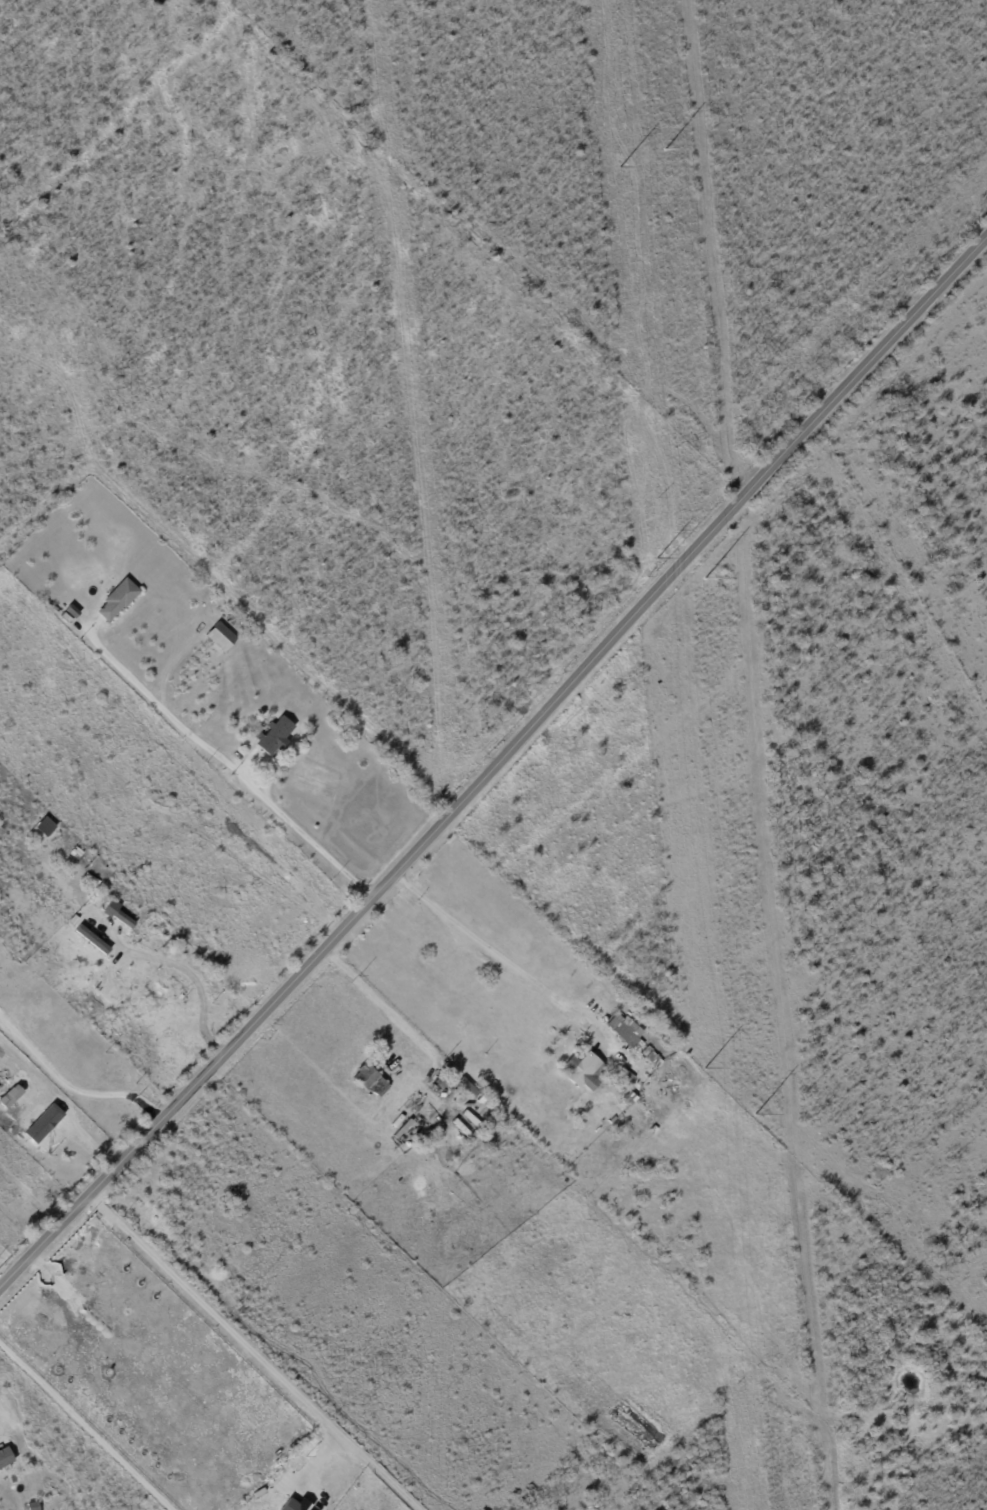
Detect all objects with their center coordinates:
building: (119, 599)
building: (223, 636)
building: (277, 736)
road: (496, 764)
road: (229, 765)
road: (407, 884)
building: (117, 914)
building: (91, 938)
road: (517, 964)
road: (186, 972)
building: (627, 1031)
building: (653, 1057)
building: (584, 1071)
building: (625, 1075)
building: (371, 1079)
building: (620, 1084)
road: (70, 1087)
building: (10, 1096)
building: (632, 1098)
building: (430, 1104)
building: (619, 1109)
building: (456, 1117)
building: (633, 1163)
road: (254, 1352)
road: (92, 1419)
building: (6, 1457)
building: (518, 1492)
building: (290, 1505)

